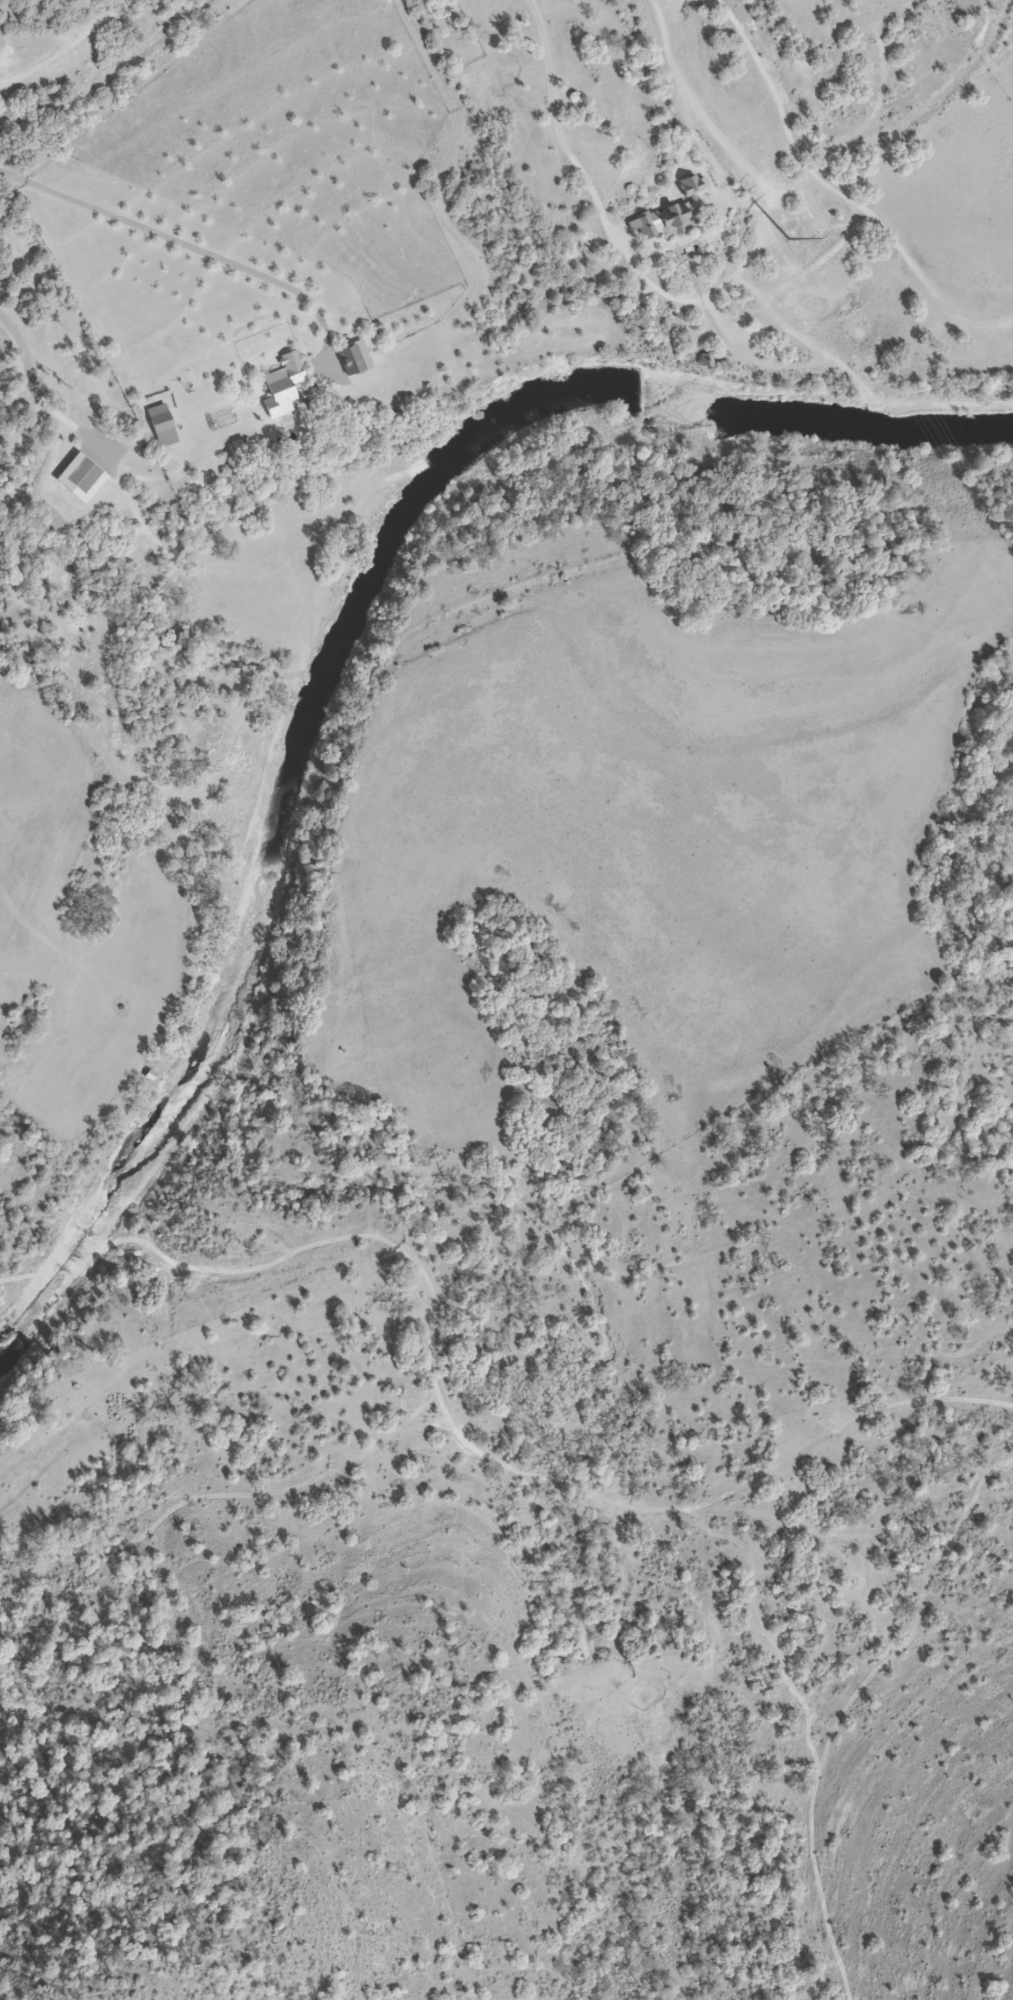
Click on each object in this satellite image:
road: (590, 175)
building: (664, 223)
power tower: (791, 240)
road: (178, 245)
building: (355, 360)
building: (707, 360)
building: (285, 390)
road: (43, 395)
building: (164, 425)
building: (86, 476)
road: (37, 828)
road: (31, 1243)

